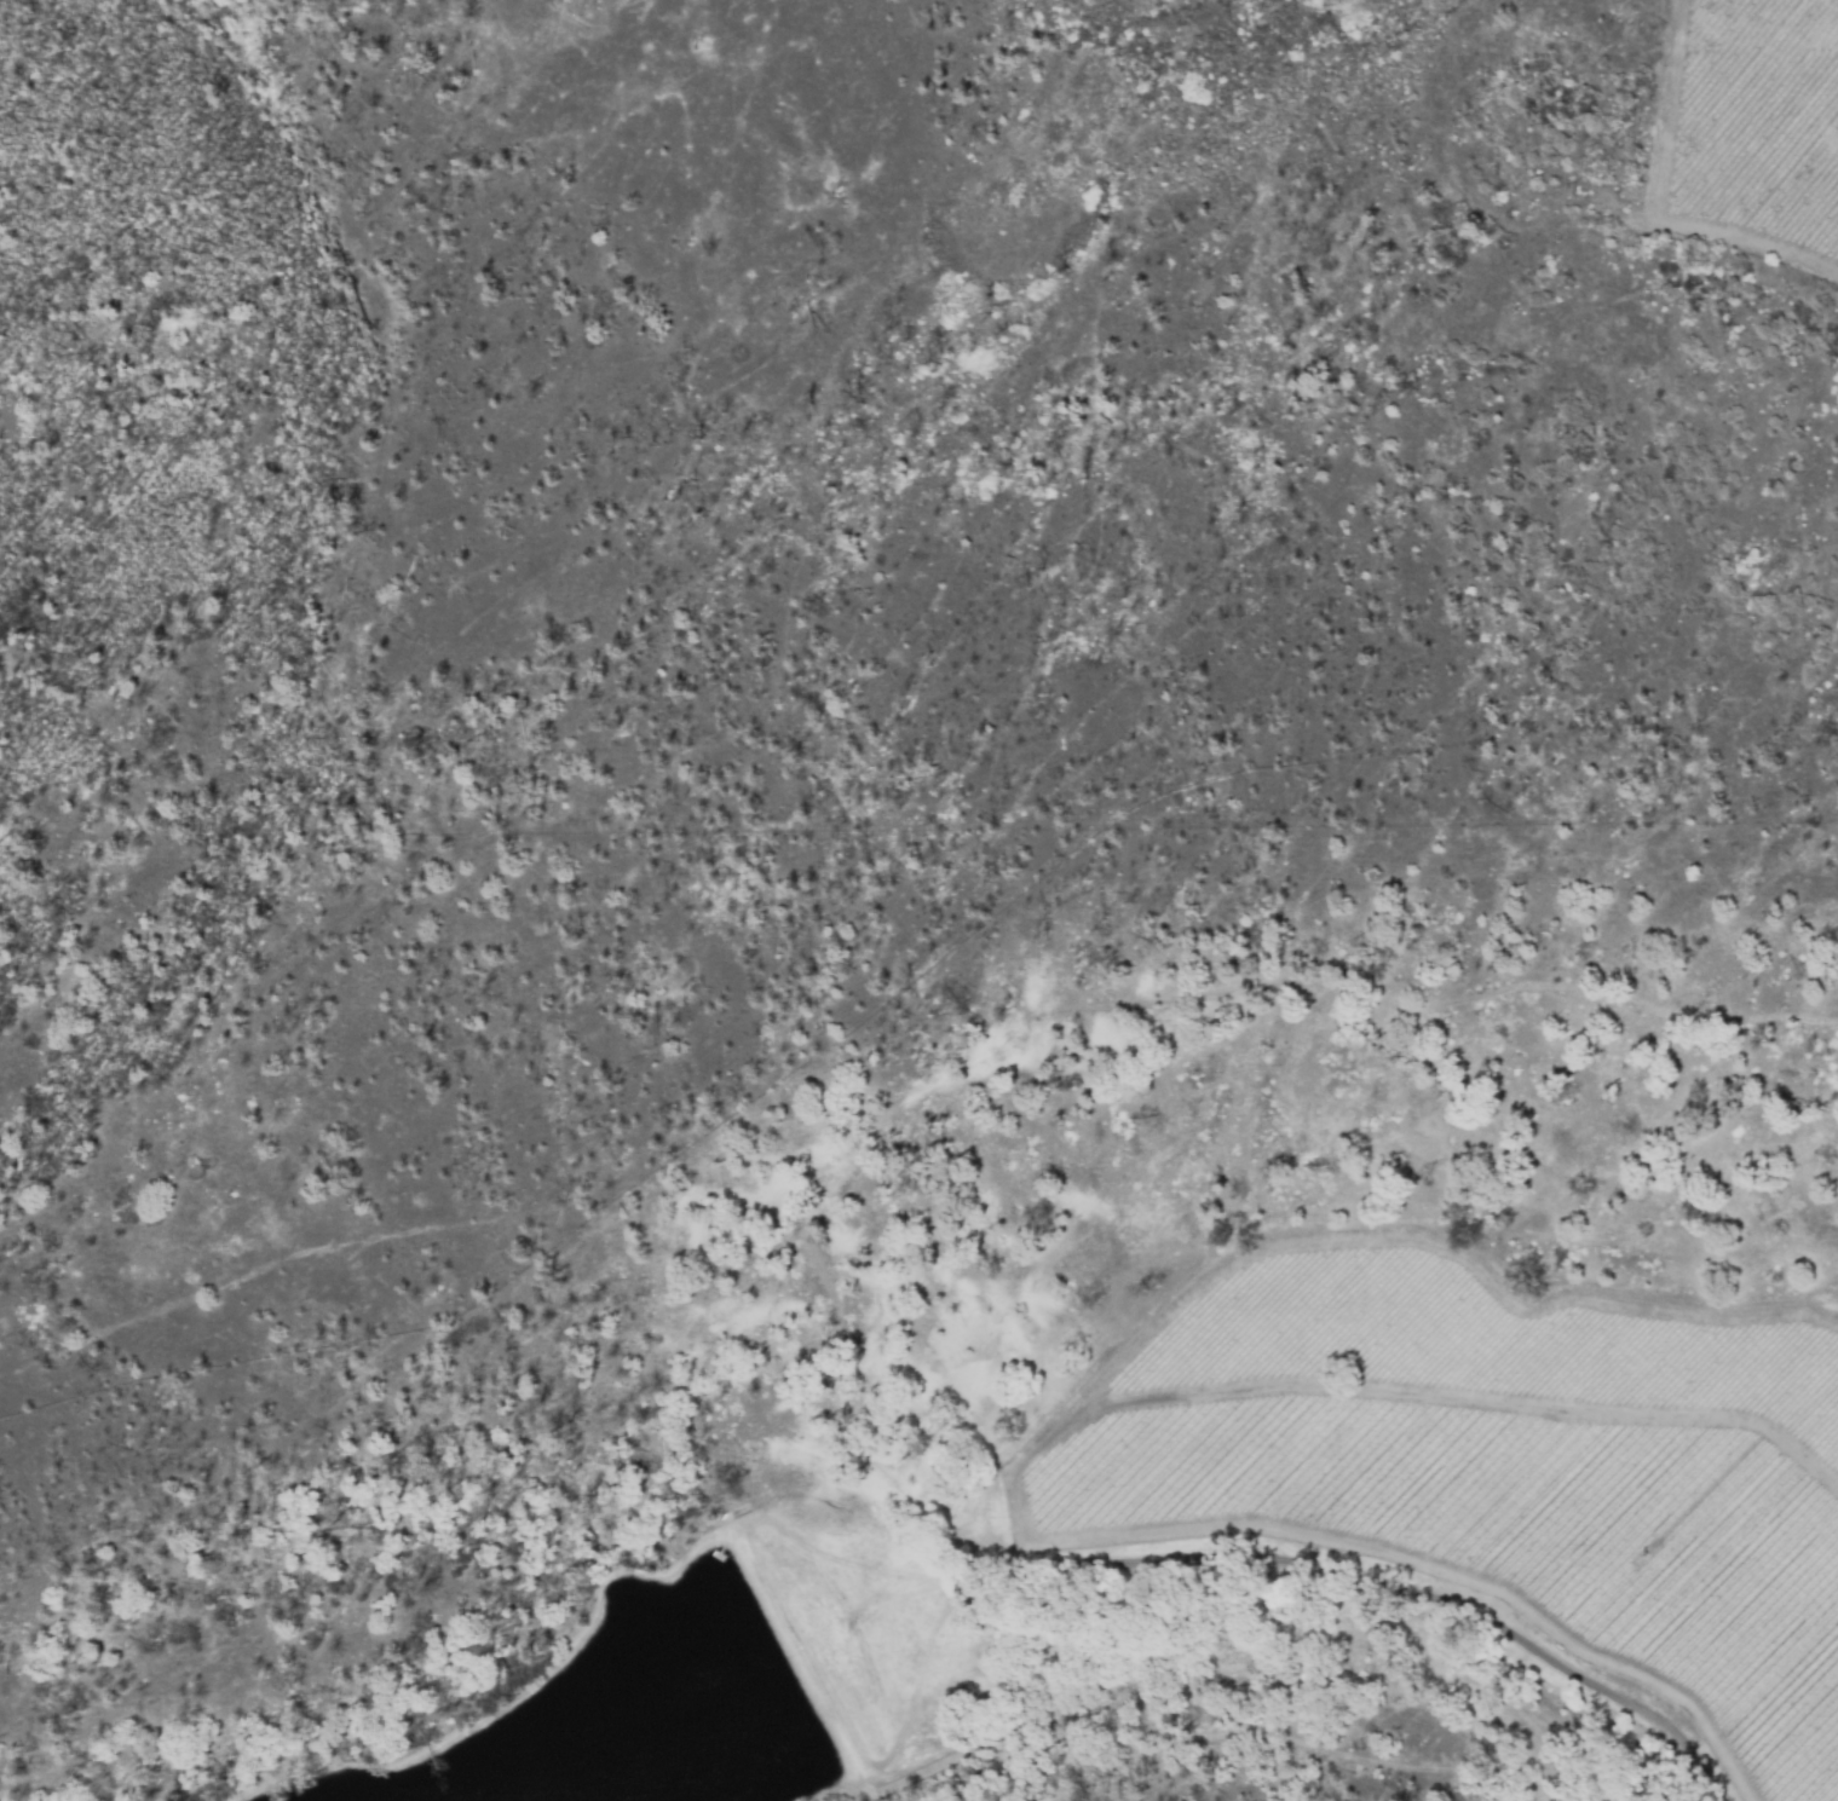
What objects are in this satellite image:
dam: (796, 1658)

